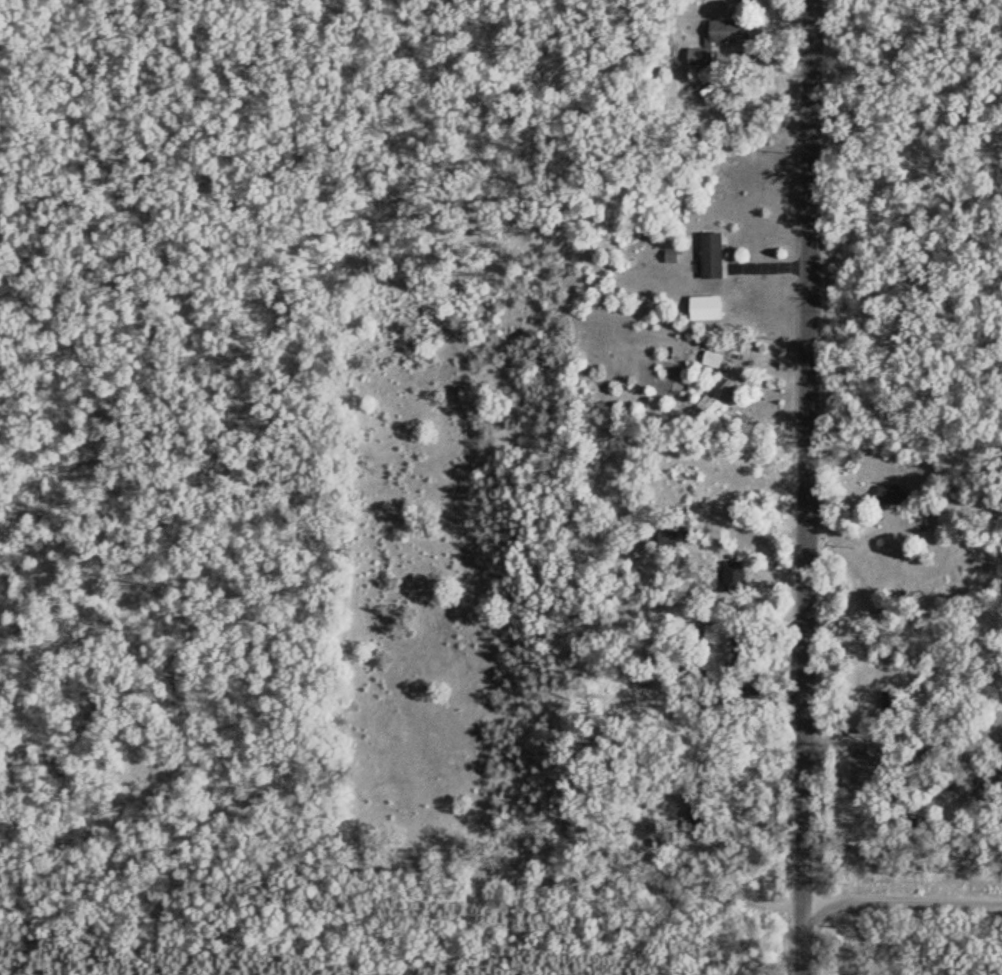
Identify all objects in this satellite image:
building: (712, 40)
building: (708, 254)
building: (705, 306)
building: (711, 358)
building: (693, 383)
building: (719, 395)
road: (808, 451)
building: (888, 493)
building: (665, 542)
building: (709, 656)
road: (500, 876)
road: (804, 938)

